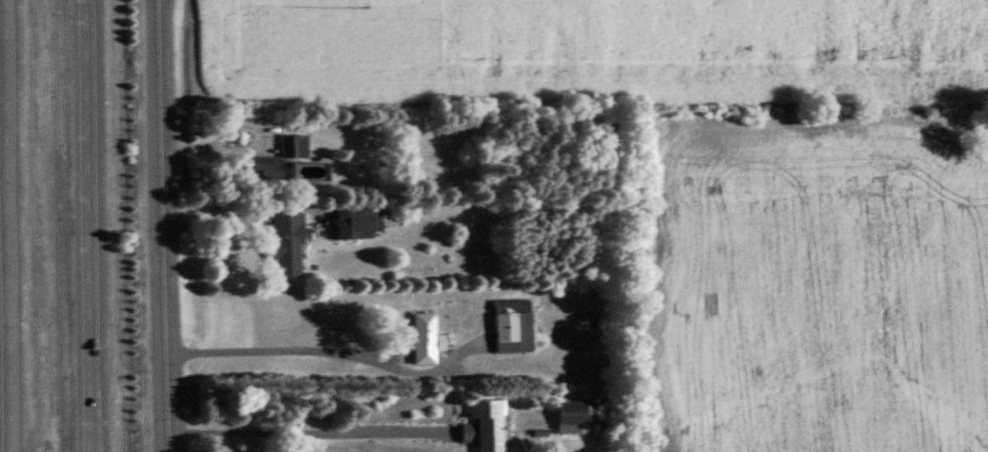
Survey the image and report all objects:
road: (247, 145)
building: (278, 155)
road: (237, 214)
building: (359, 219)
road: (1, 226)
road: (78, 226)
road: (162, 226)
building: (288, 242)
building: (514, 323)
building: (425, 335)
road: (276, 347)
building: (576, 413)
building: (488, 423)
road: (299, 428)

